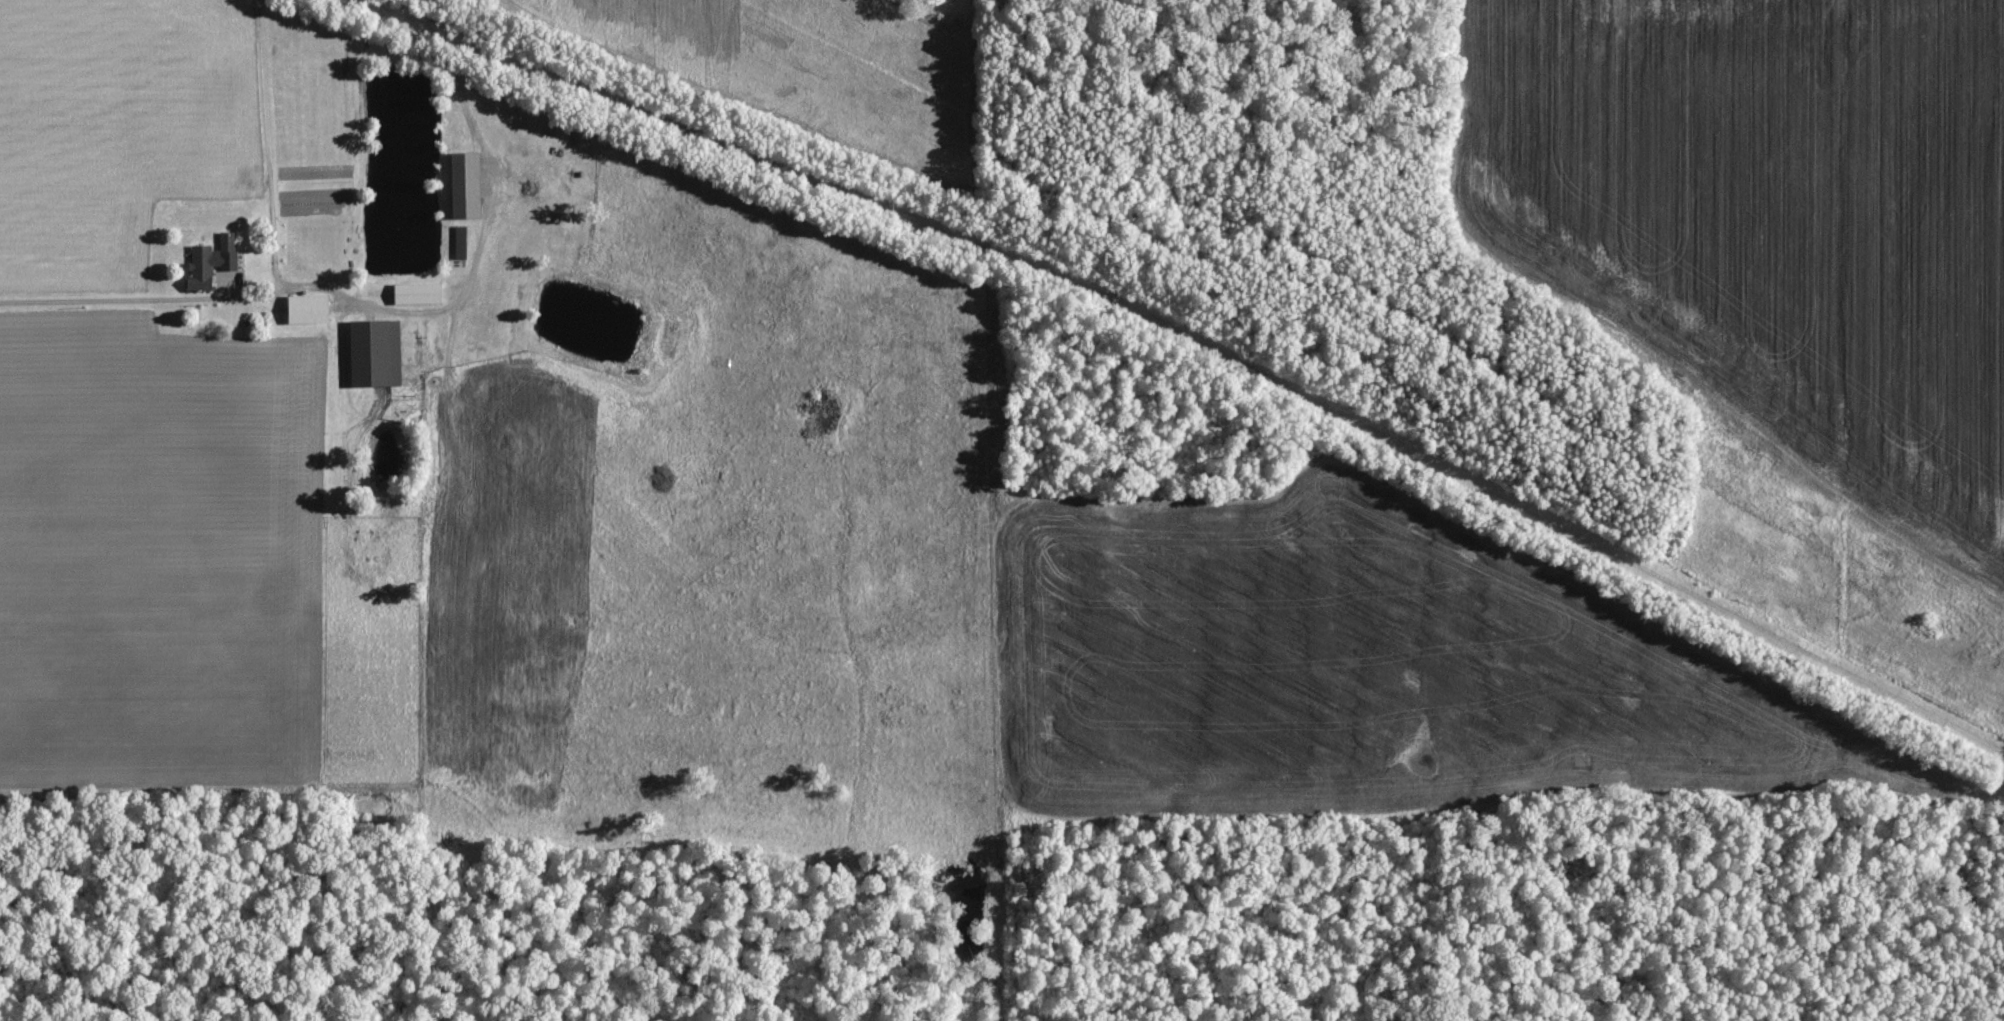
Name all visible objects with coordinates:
building: (465, 183)
building: (455, 241)
building: (208, 263)
building: (416, 292)
road: (114, 294)
building: (307, 307)
building: (374, 351)

